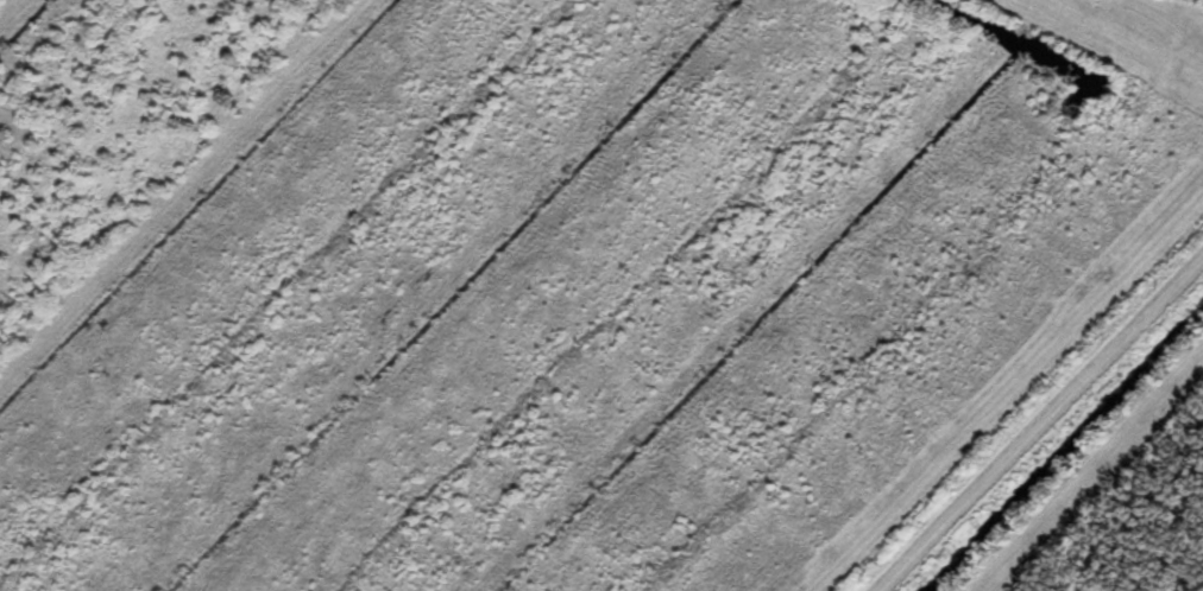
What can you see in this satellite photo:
road: (1038, 422)

